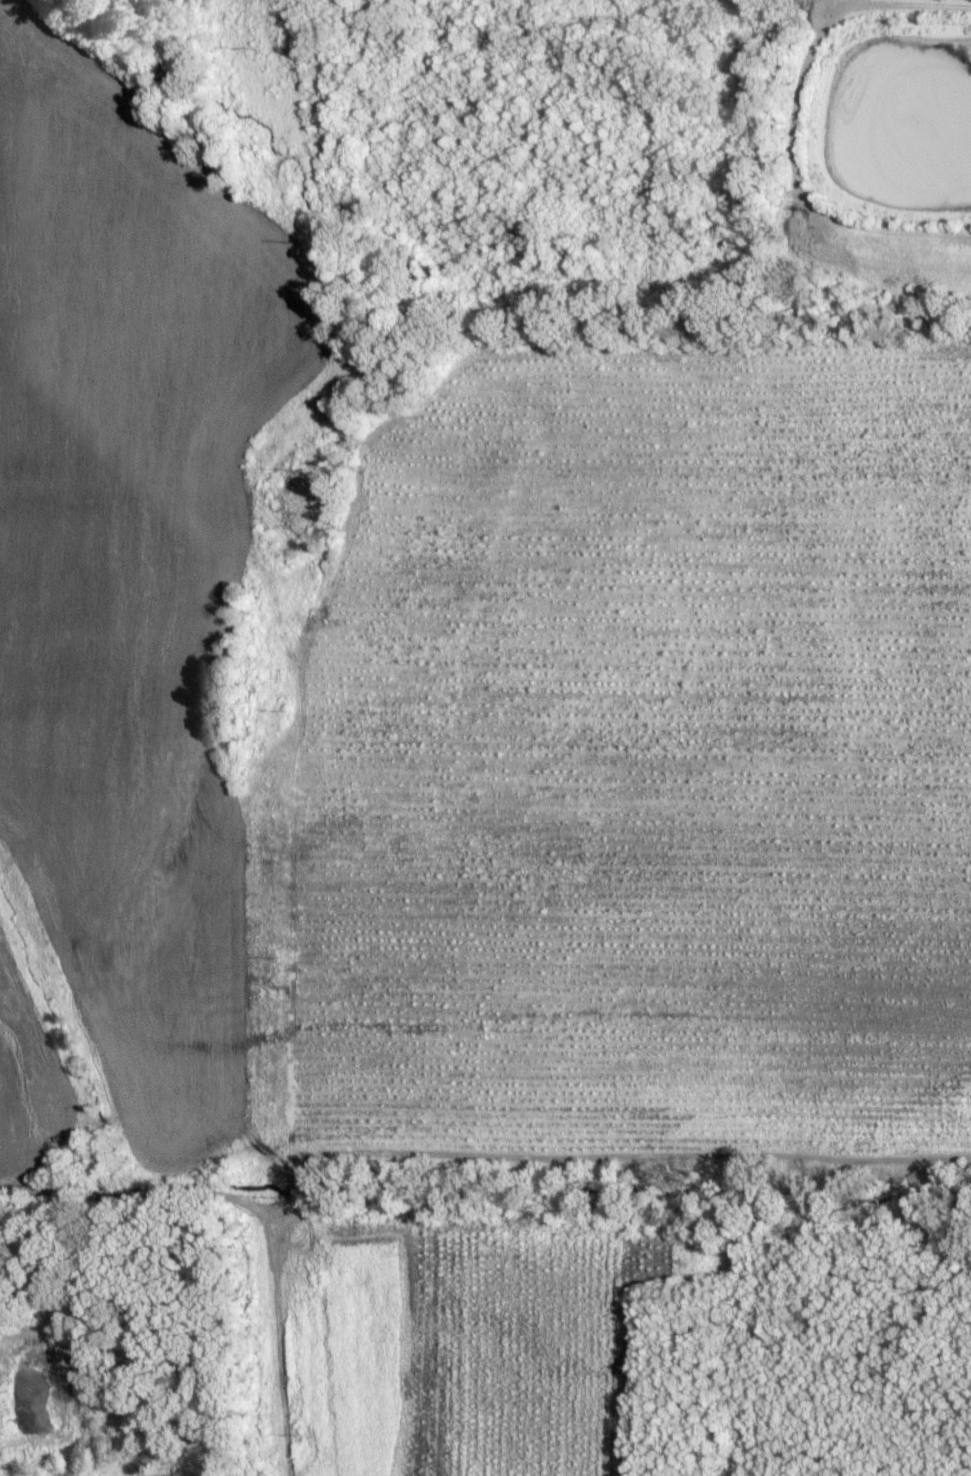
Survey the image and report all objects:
road: (50, 1185)

